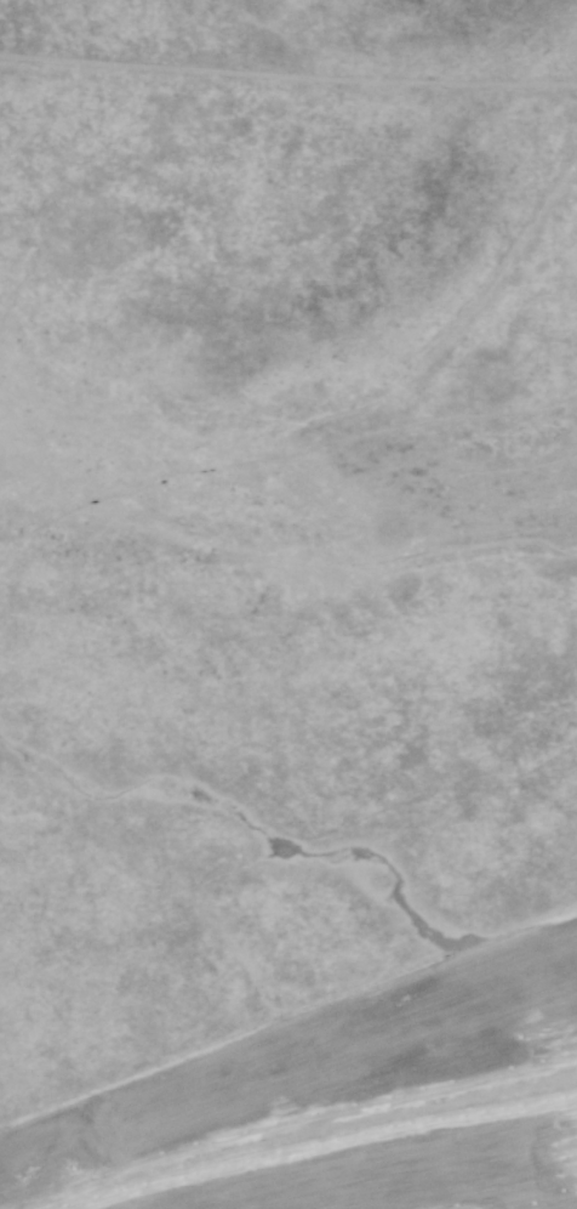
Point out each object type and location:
road: (331, 1157)

